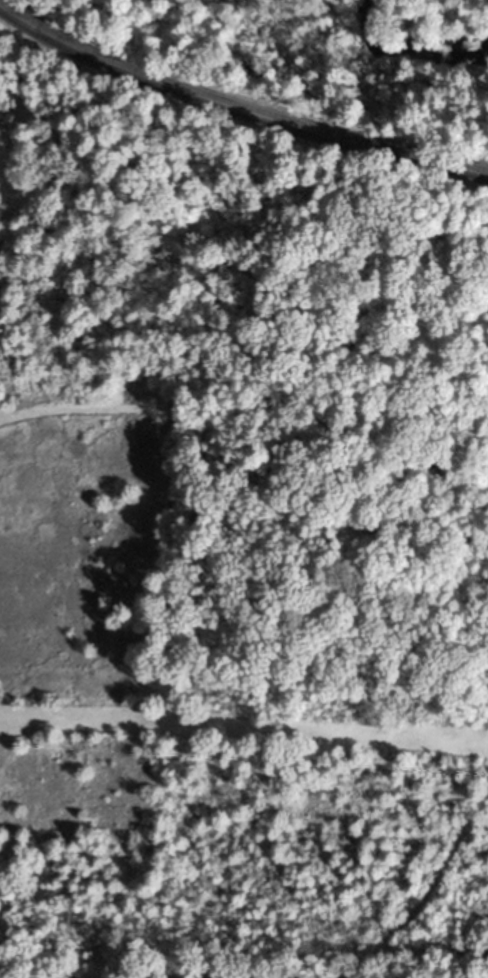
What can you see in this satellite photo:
road: (222, 22)
road: (360, 45)
park: (313, 54)
road: (296, 69)
road: (237, 106)
road: (456, 108)
road: (200, 238)
road: (2, 415)
park: (236, 544)
road: (213, 584)
road: (244, 725)
road: (434, 875)
road: (416, 951)
road: (121, 975)

